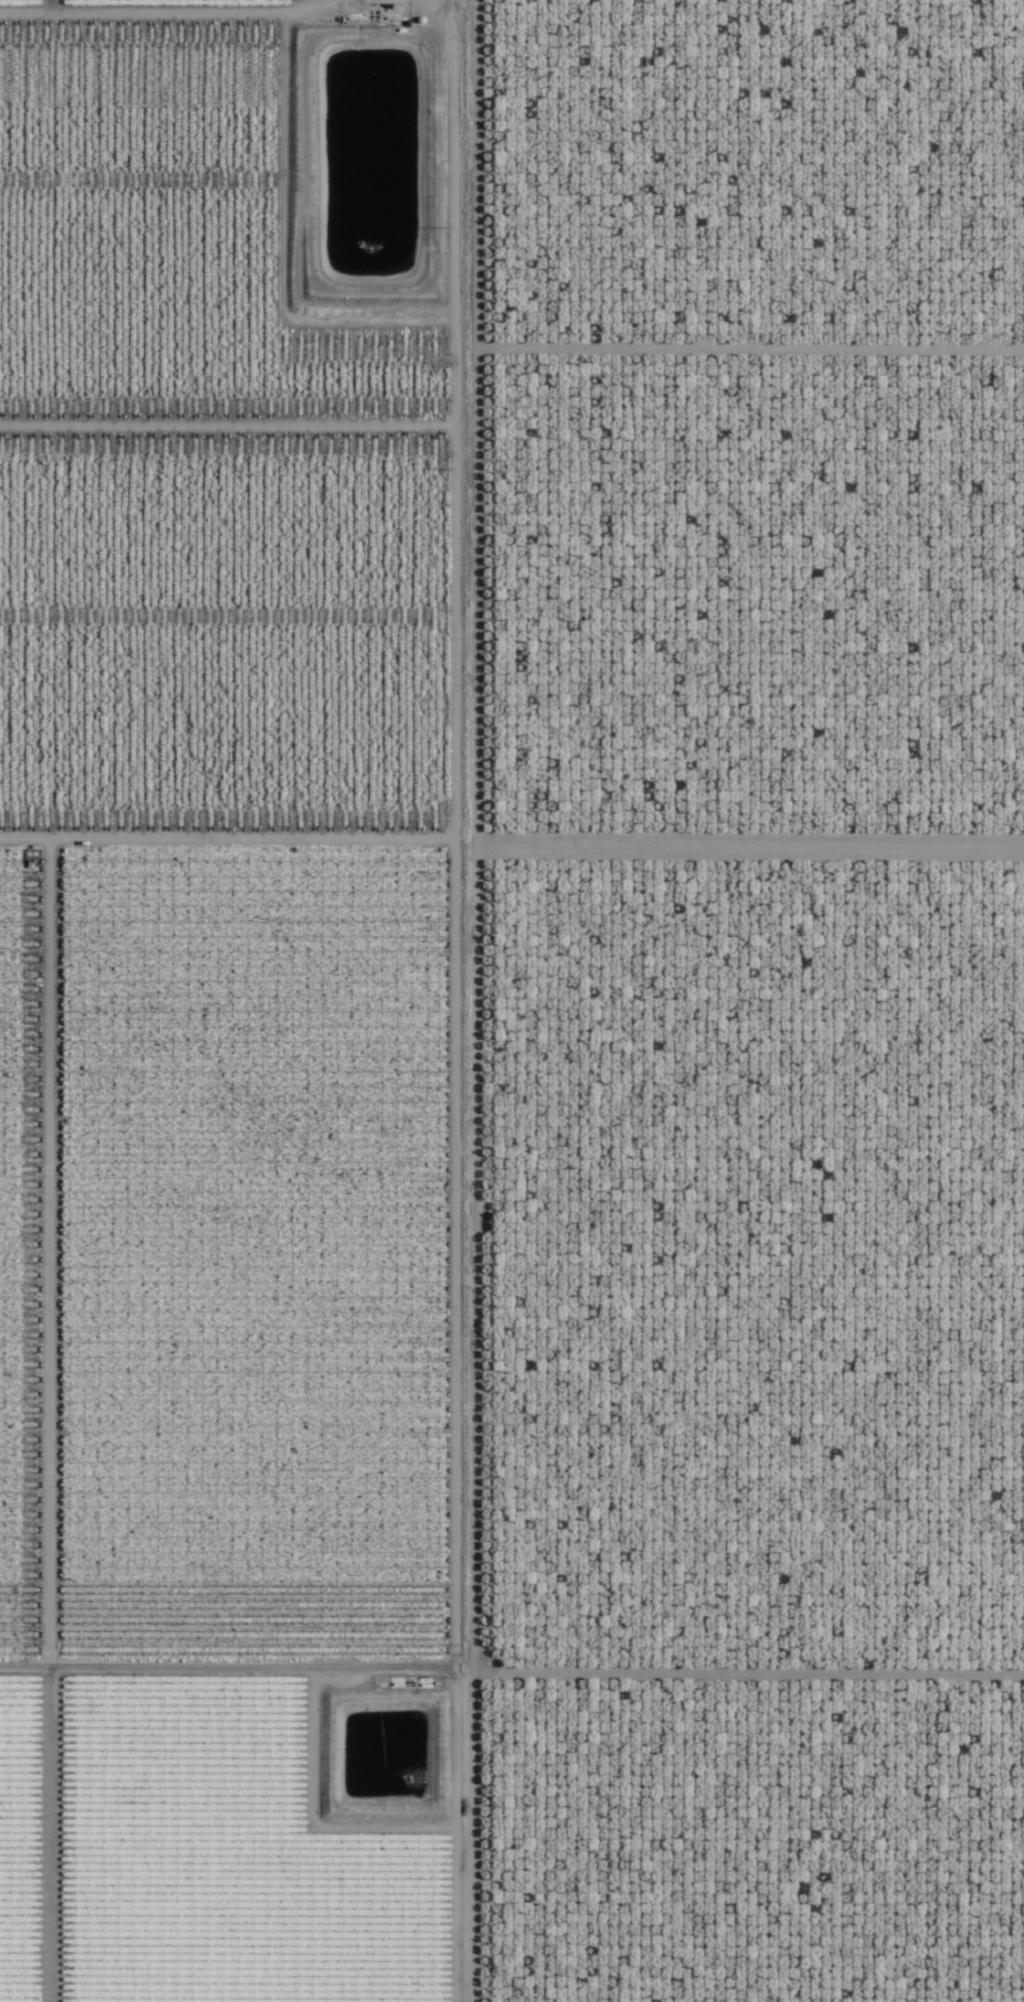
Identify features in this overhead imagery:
road: (474, 1000)
crop: (242, 1001)

